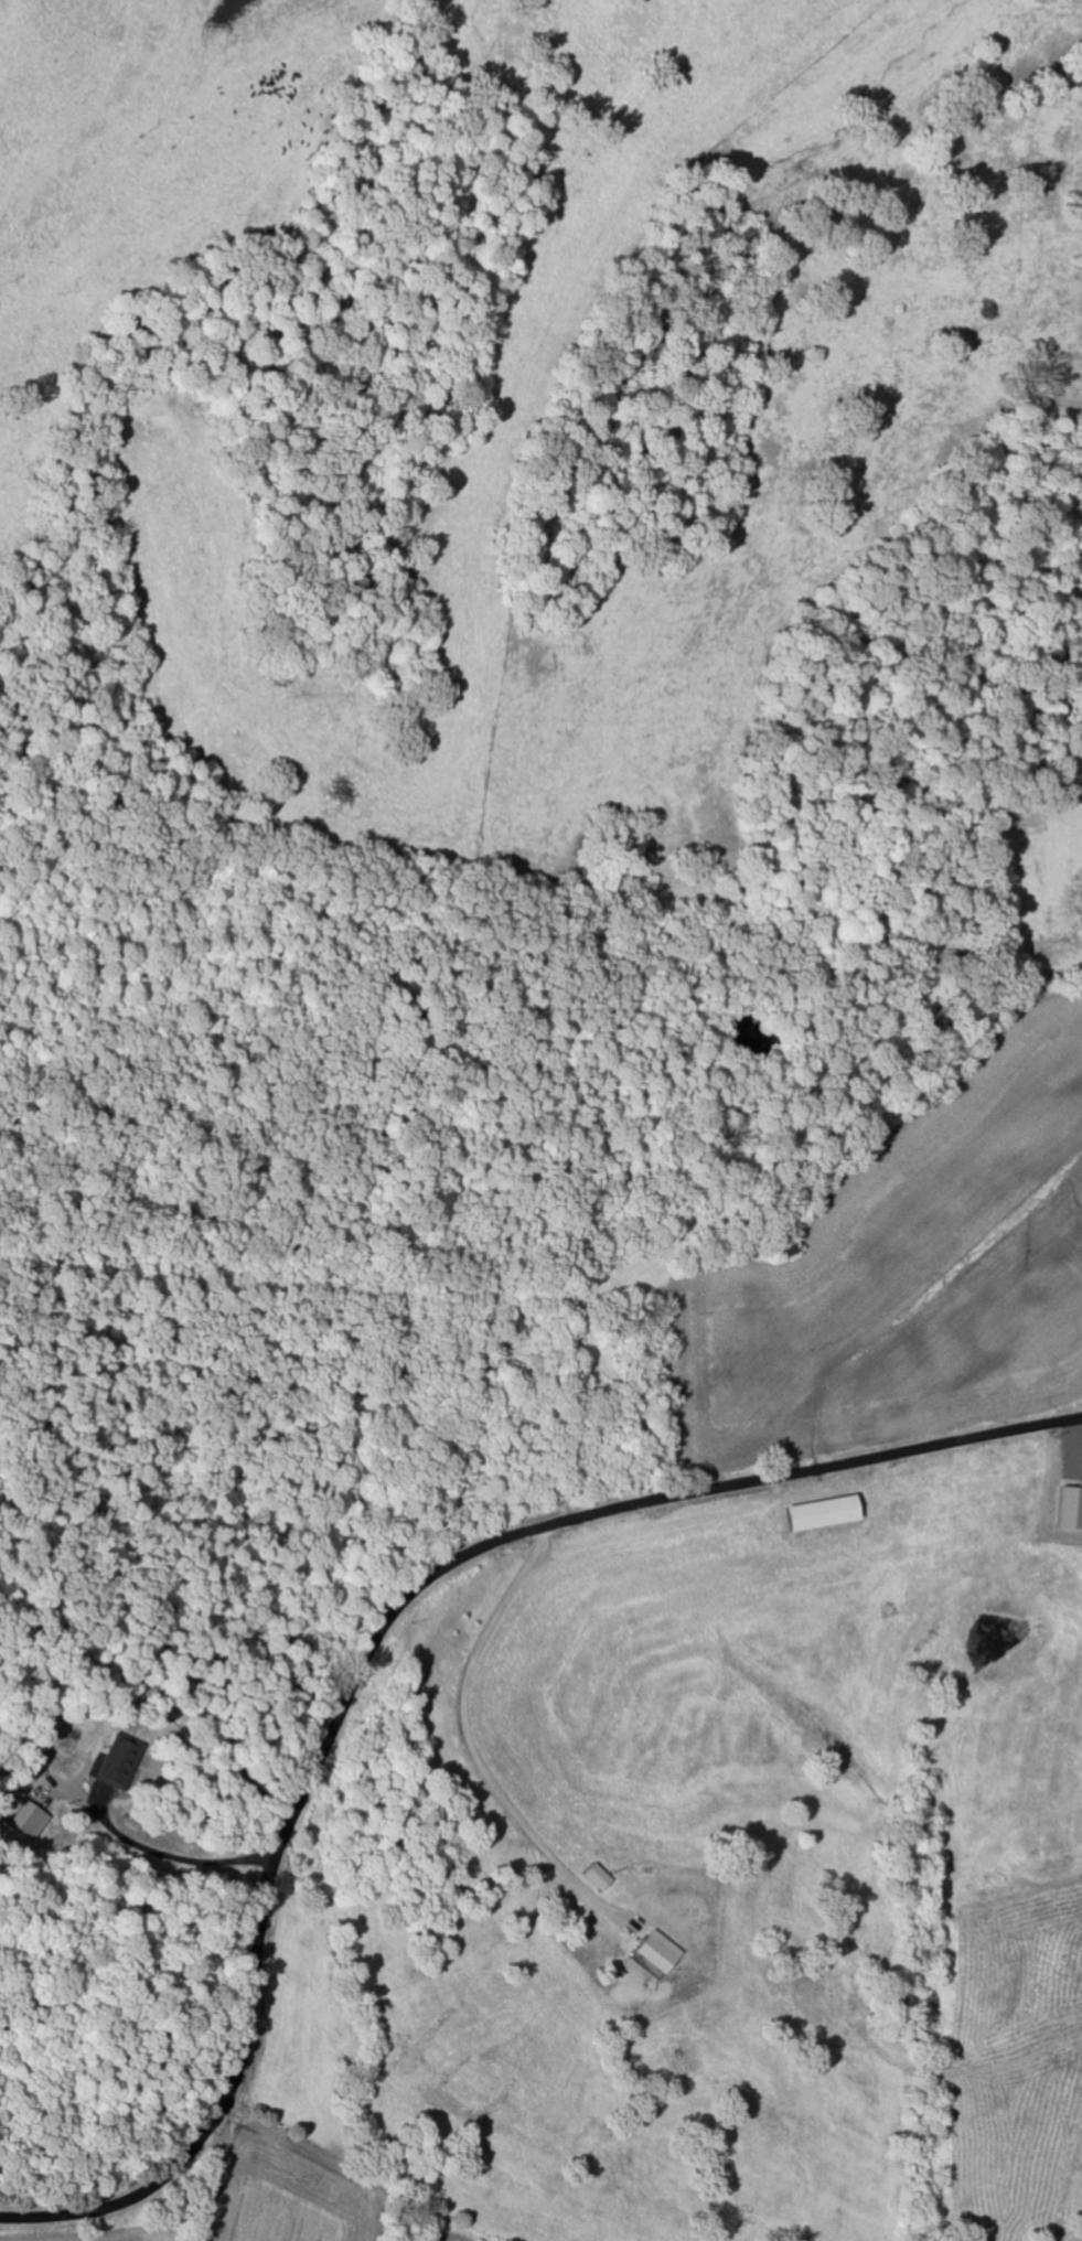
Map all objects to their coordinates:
building: (1074, 1505)
building: (832, 1514)
road: (378, 1645)
building: (121, 1762)
building: (33, 1820)
building: (603, 1877)
building: (664, 1952)

